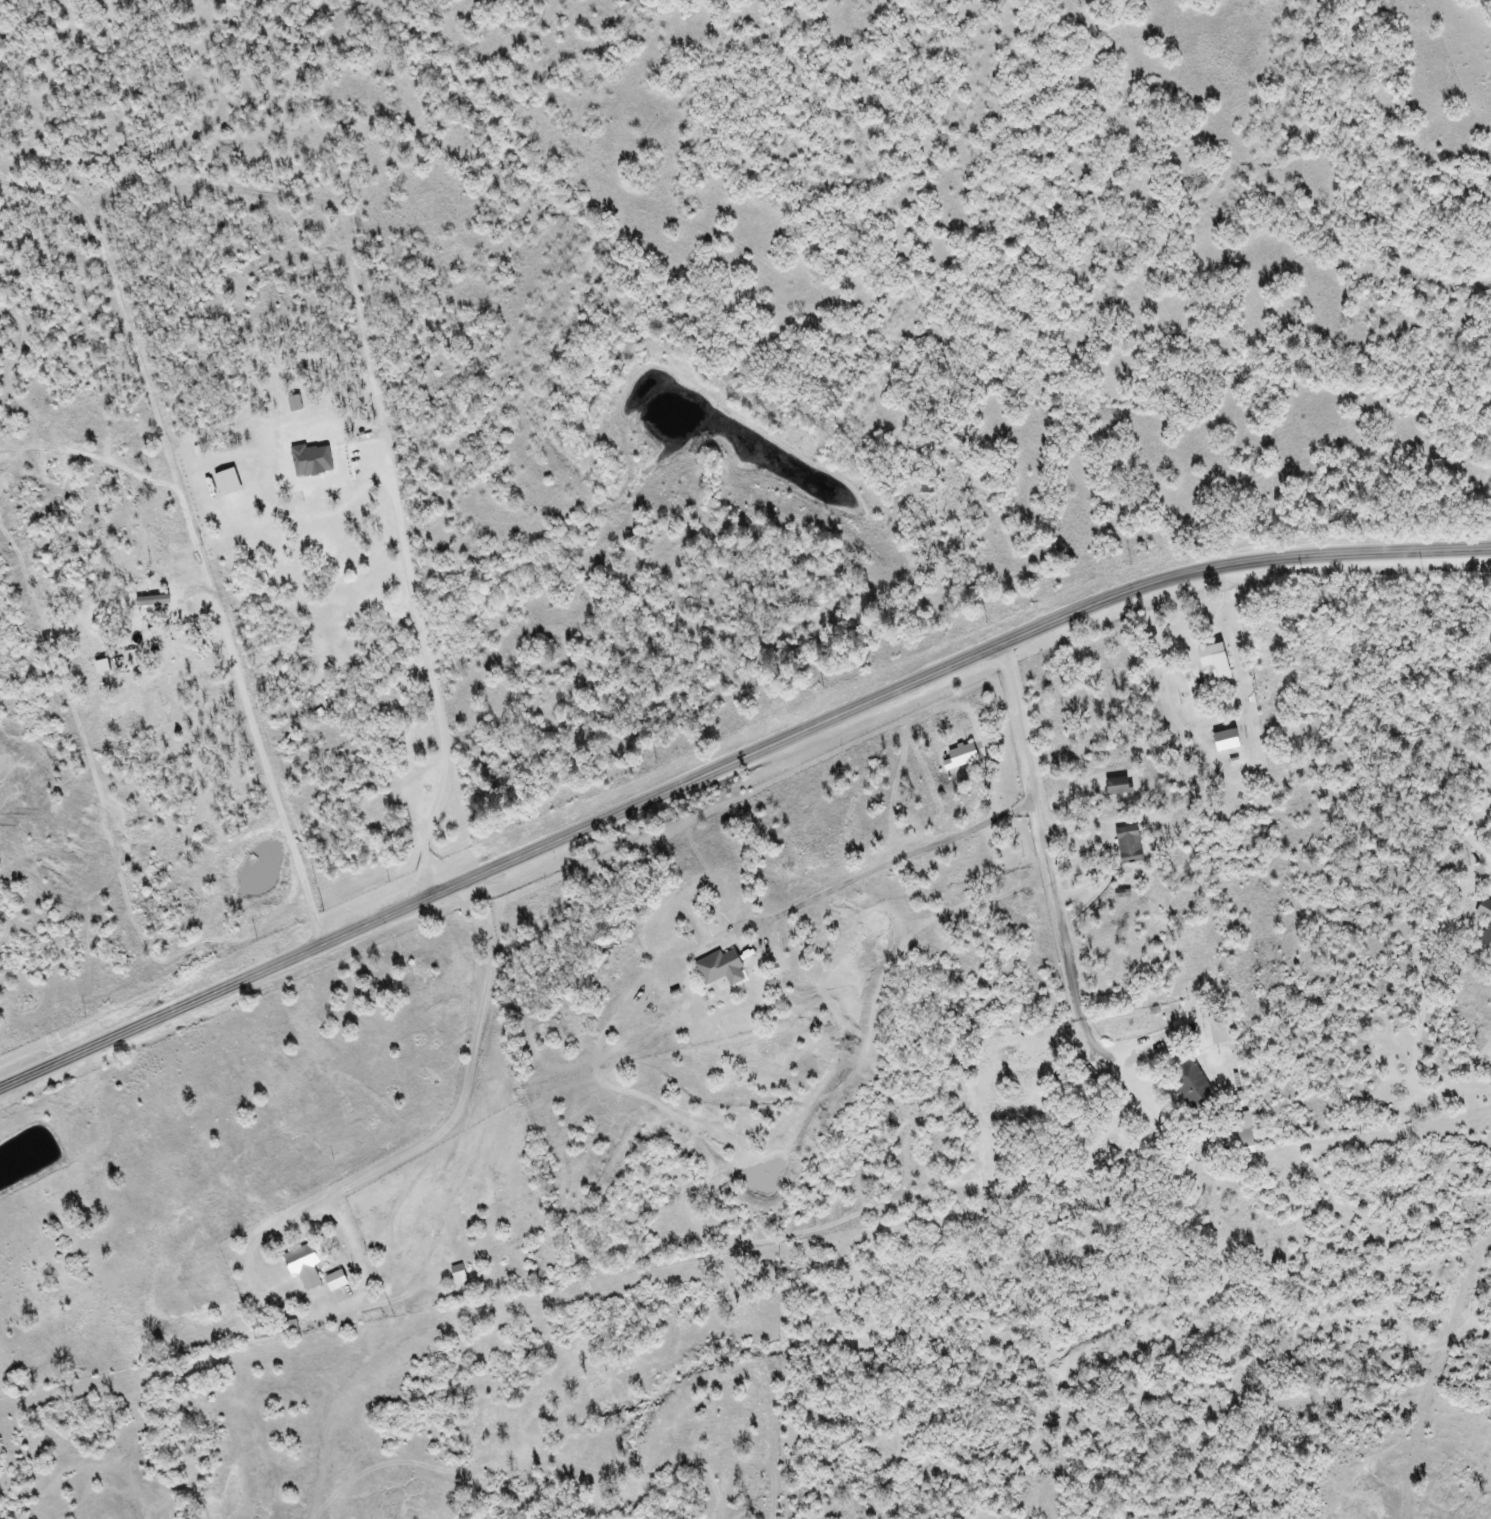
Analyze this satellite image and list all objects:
building: (310, 460)
building: (226, 482)
building: (151, 601)
building: (1213, 660)
building: (100, 666)
road: (1415, 729)
building: (1224, 739)
building: (959, 756)
road: (731, 765)
building: (1116, 785)
building: (1268, 800)
building: (1128, 844)
building: (1486, 931)
road: (879, 959)
building: (717, 968)
building: (1190, 1083)
building: (1242, 1133)
road: (241, 1180)
building: (304, 1264)
building: (457, 1275)
building: (334, 1281)
building: (290, 1327)

